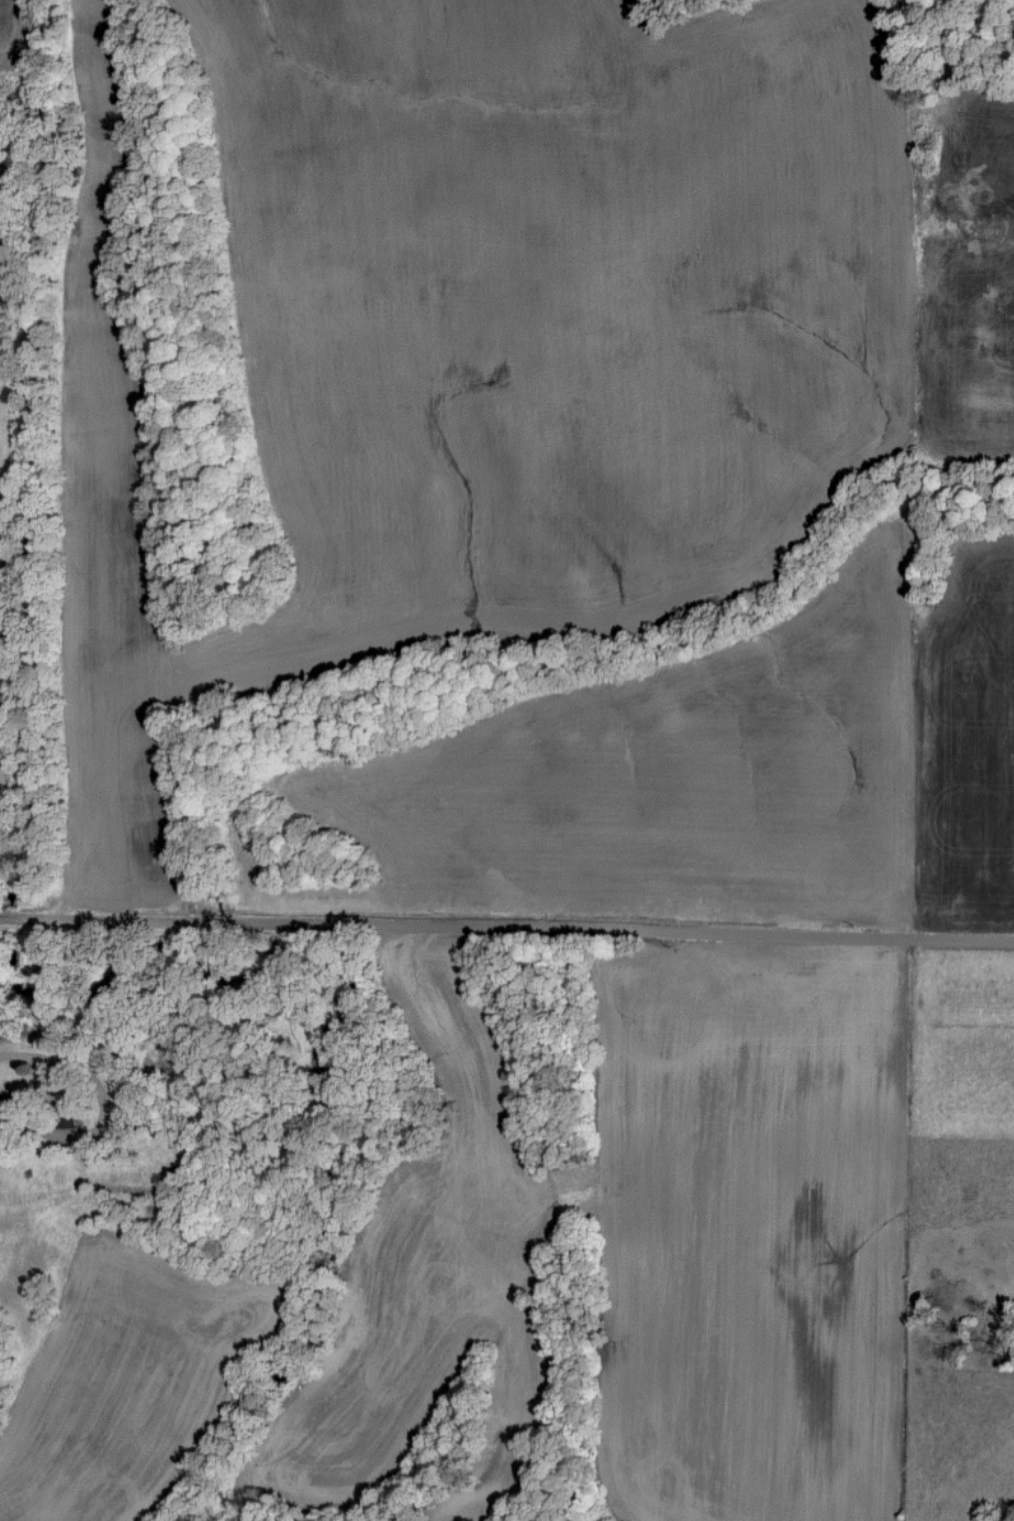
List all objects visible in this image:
road: (507, 926)
road: (57, 1058)

